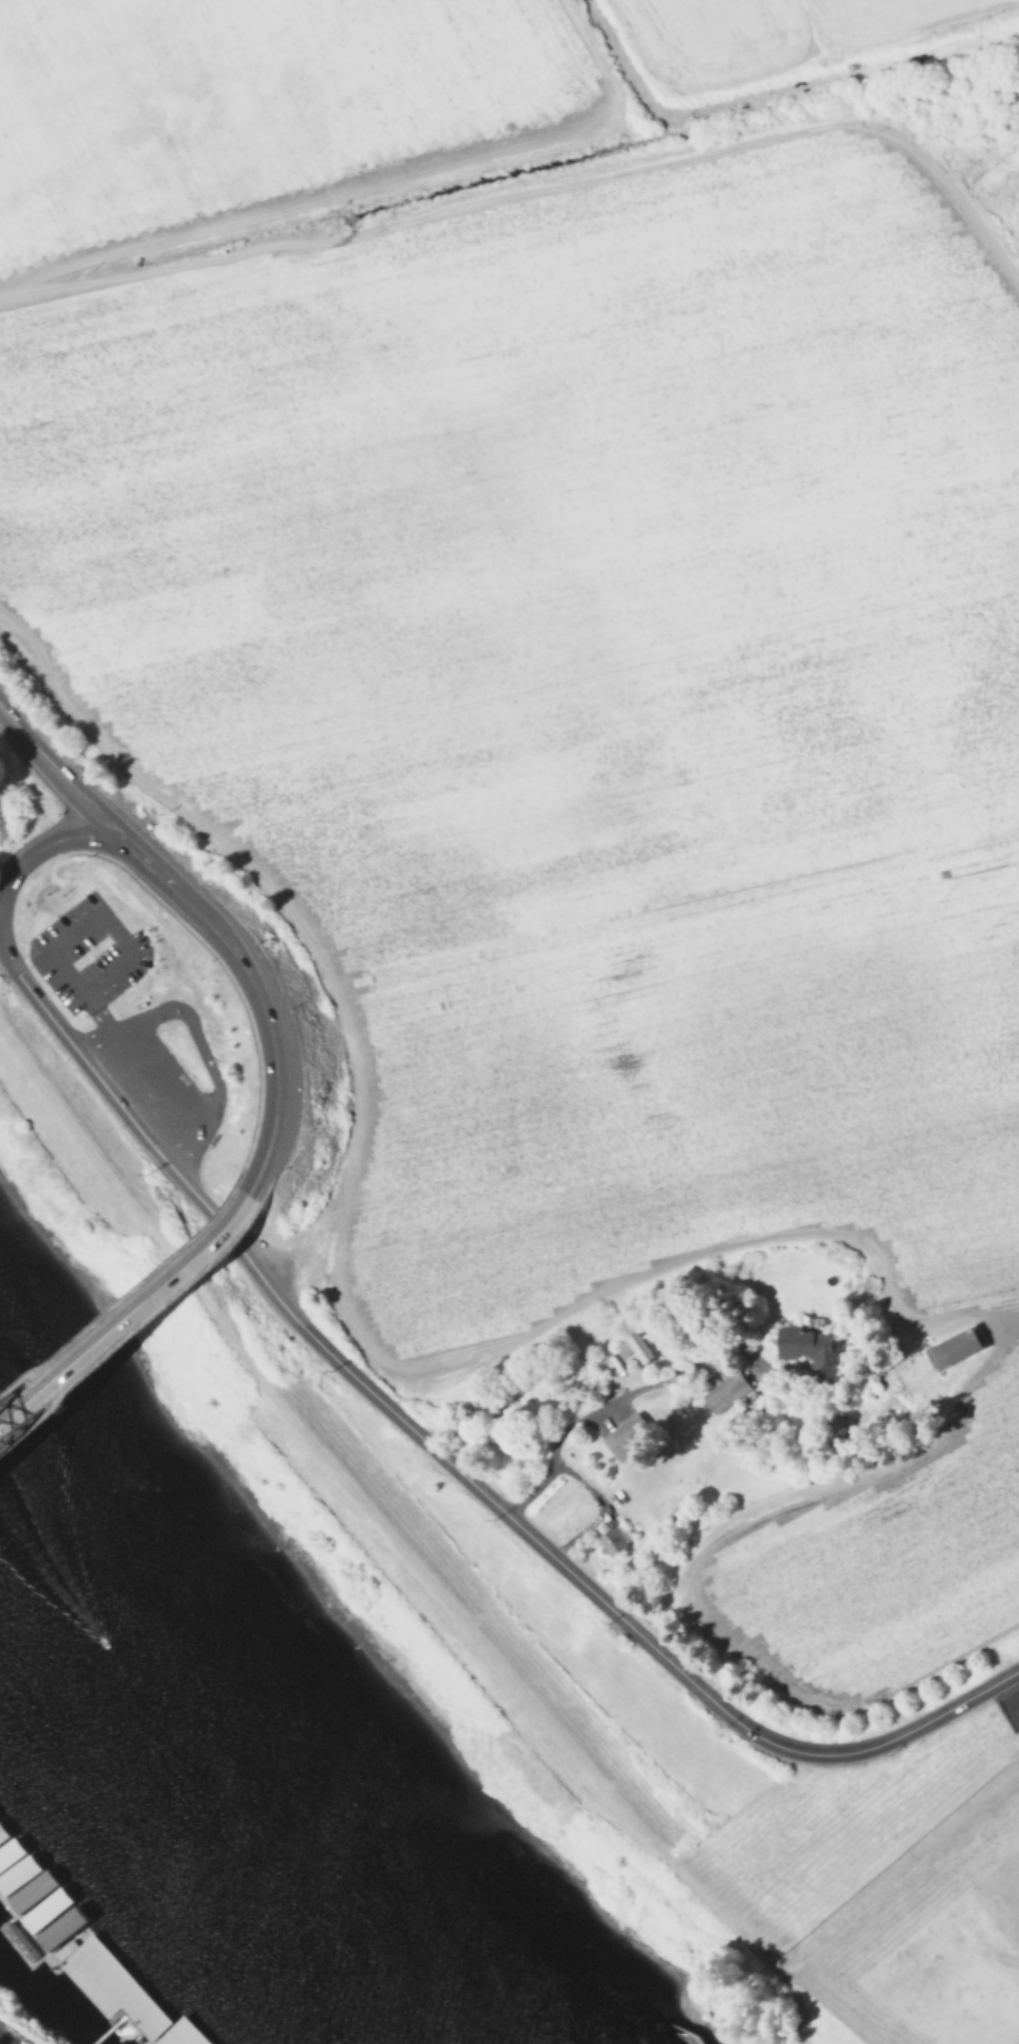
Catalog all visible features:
crop: (771, 28)
crop: (259, 103)
crop: (588, 682)
road: (58, 777)
road: (47, 846)
road: (144, 861)
road: (51, 891)
flagpole: (45, 892)
road: (189, 906)
road: (55, 947)
parking lot: (56, 950)
road: (231, 985)
road: (118, 1001)
road: (37, 1002)
road: (97, 1015)
road: (104, 1037)
road: (196, 1040)
road: (271, 1058)
road: (172, 1070)
road: (152, 1084)
road: (139, 1094)
road: (119, 1108)
road: (186, 1141)
road: (119, 1295)
road: (125, 1310)
road: (146, 1313)
building: (628, 1341)
building: (949, 1341)
building: (808, 1344)
building: (721, 1388)
road: (619, 1402)
building: (625, 1440)
road: (426, 1445)
building: (611, 1534)
crop: (890, 1551)
road: (969, 1699)
road: (812, 1755)
river: (229, 1783)
building: (12, 1865)
building: (29, 1893)
building: (43, 1912)
building: (59, 1931)
road: (979, 1945)
pier: (80, 1952)
building: (111, 1990)
pier: (136, 2031)
parking lot: (12, 2035)
building: (182, 2035)

